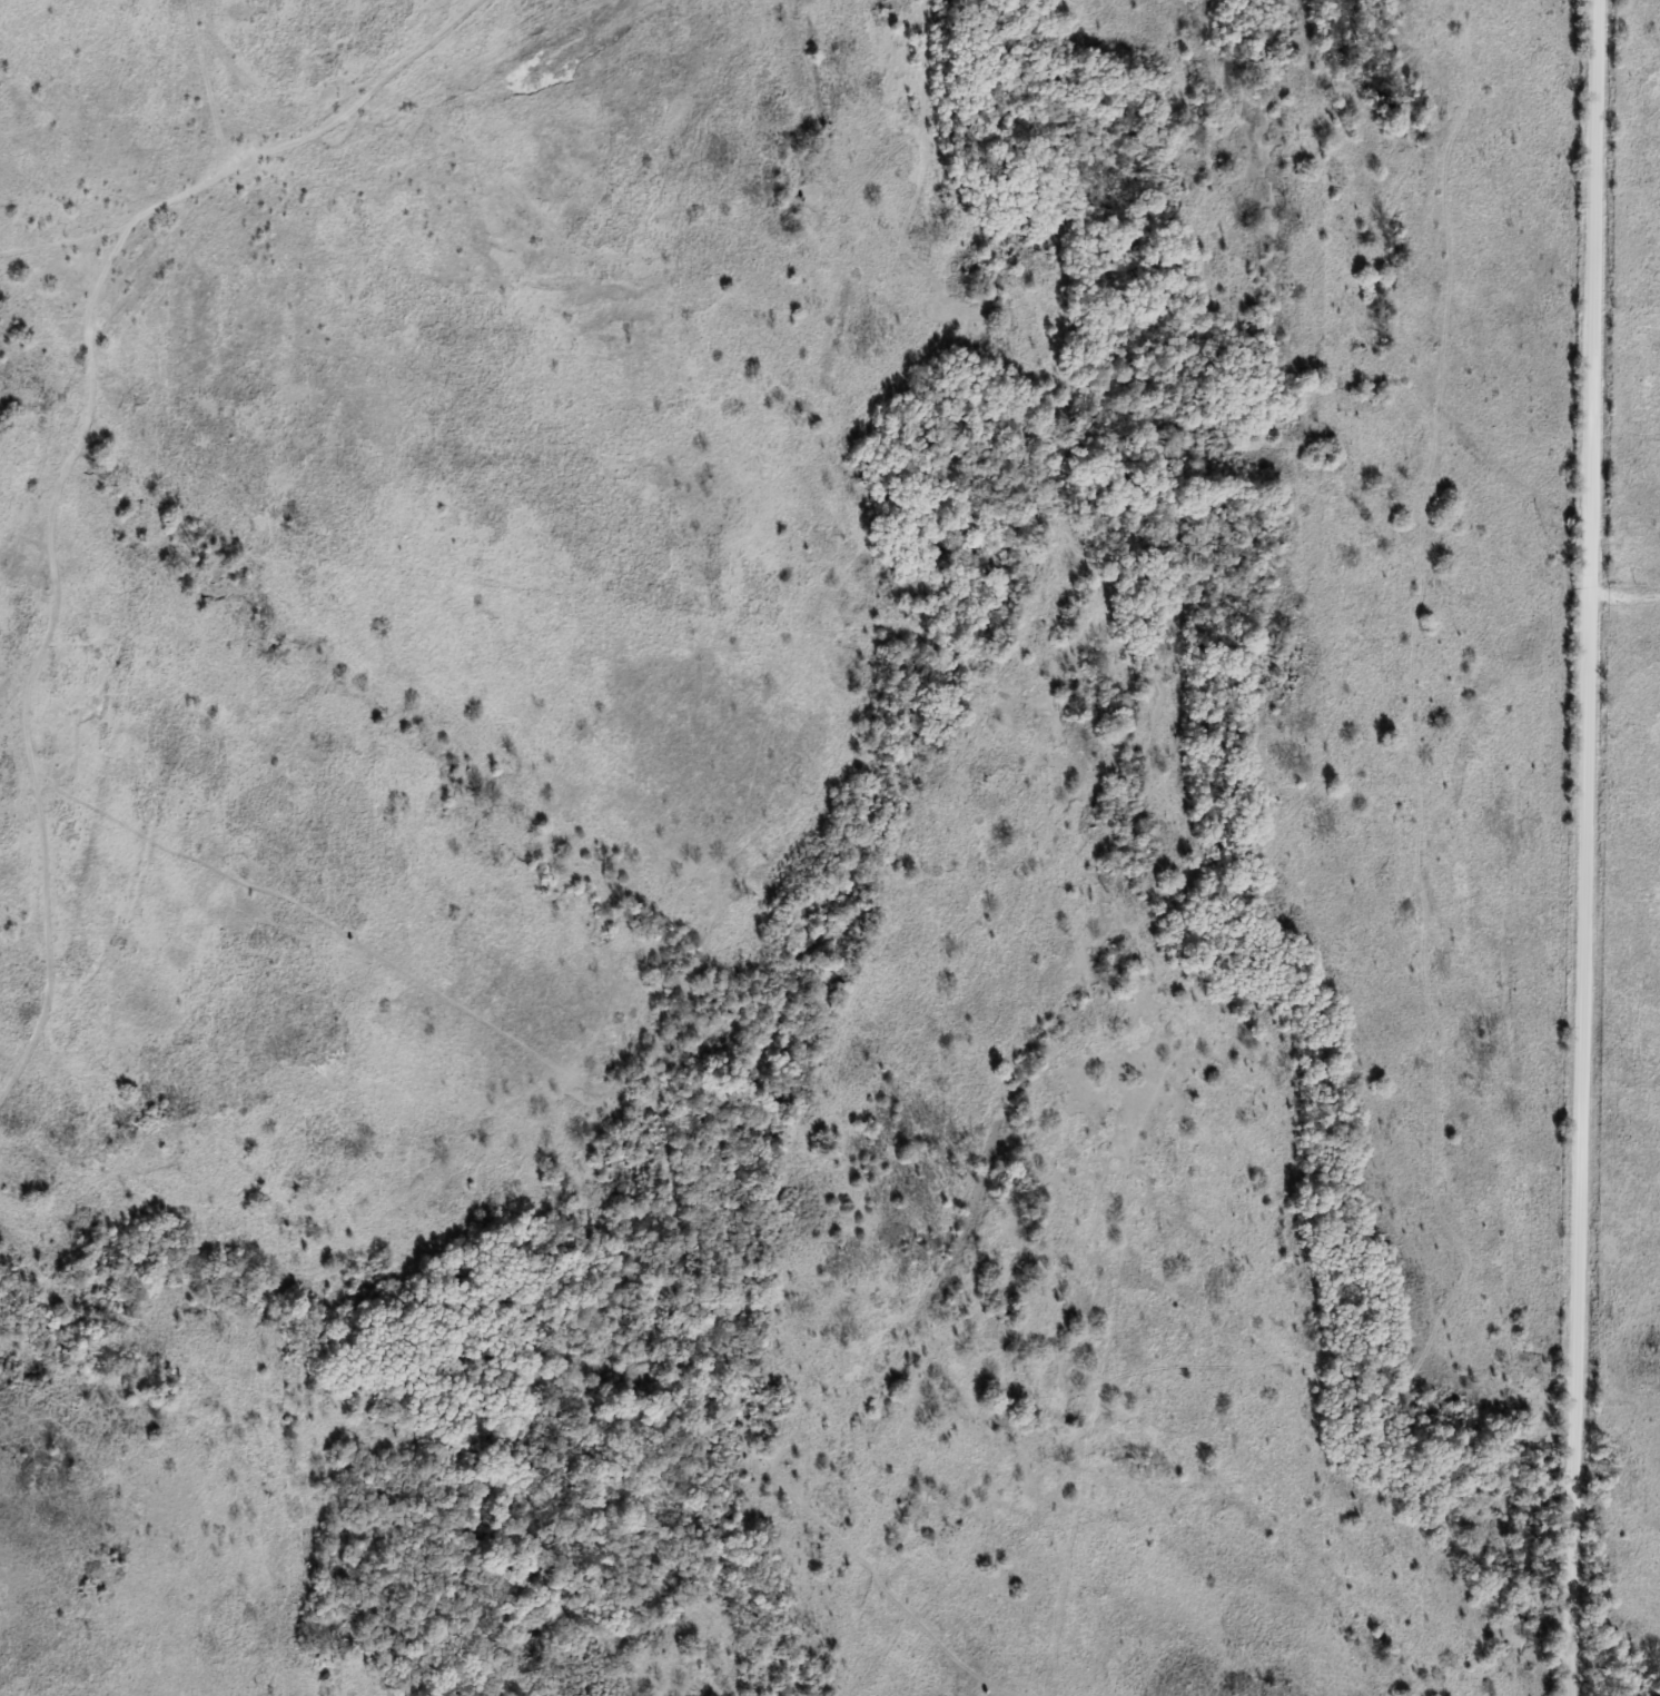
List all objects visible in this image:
road: (36, 454)
road: (1589, 847)

